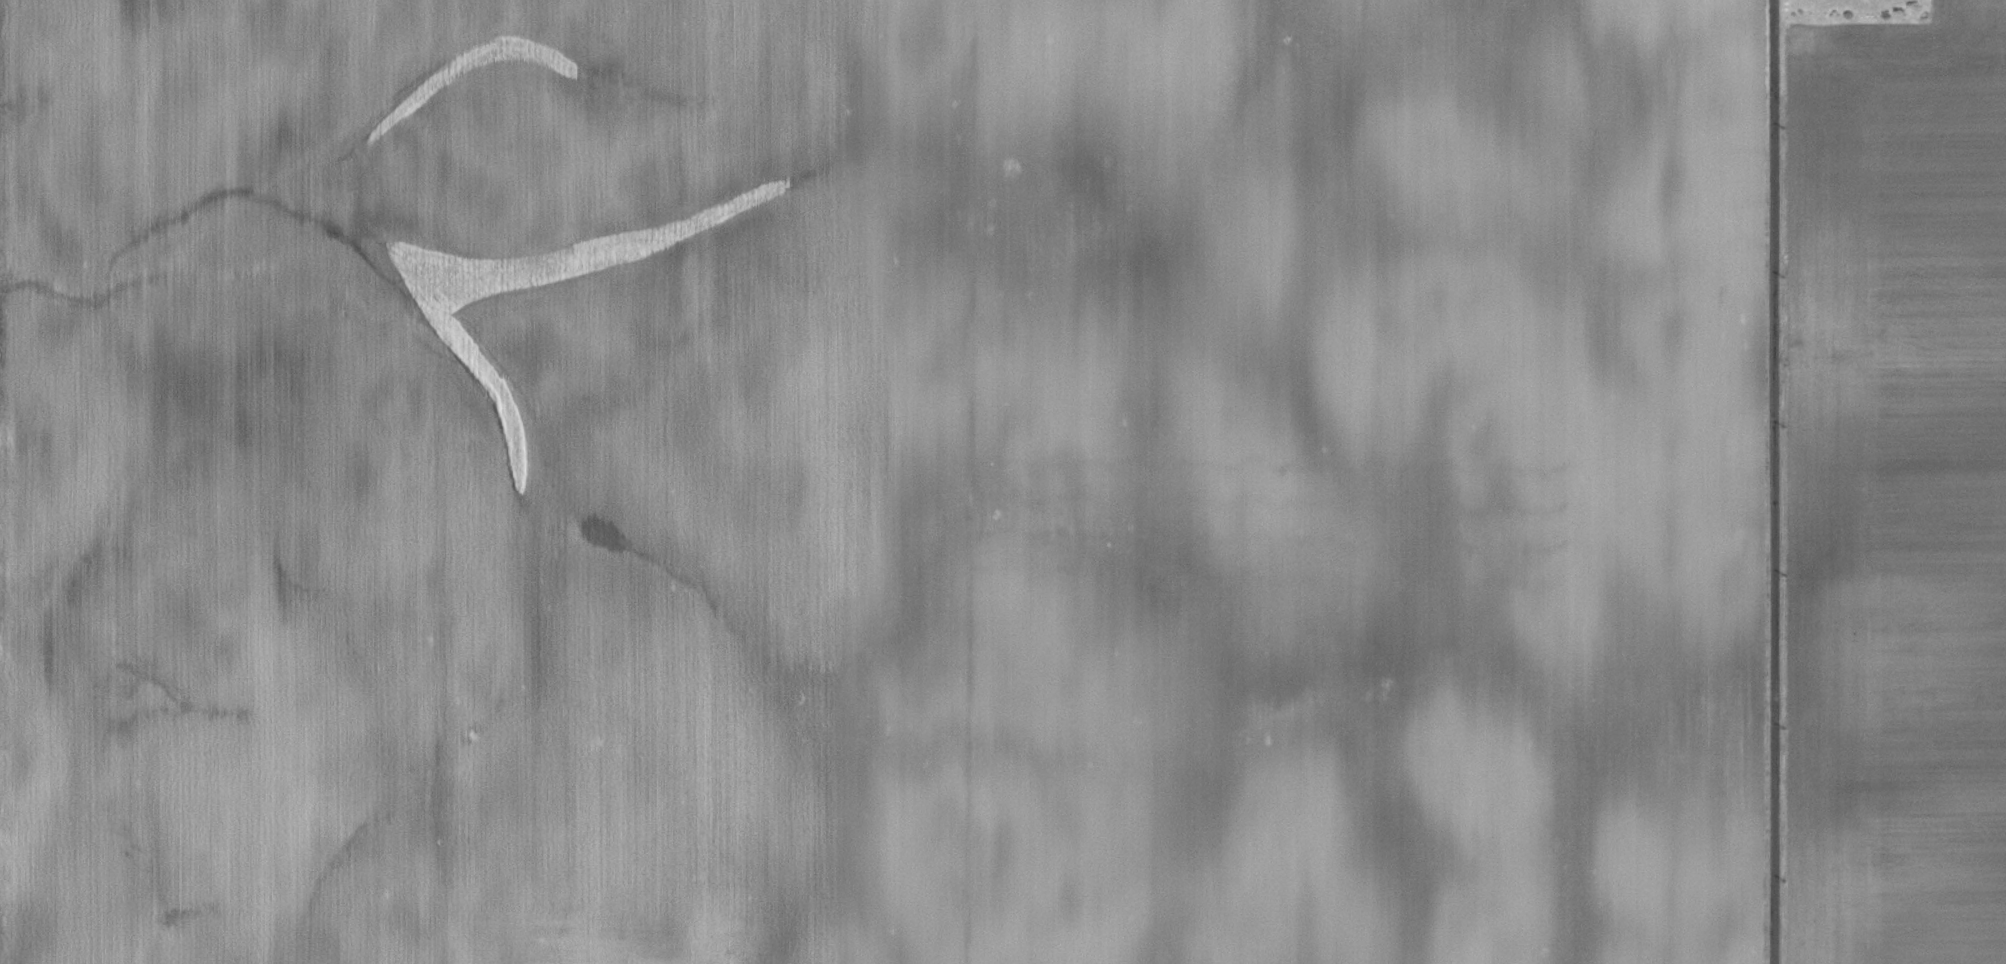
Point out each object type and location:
road: (1774, 481)

